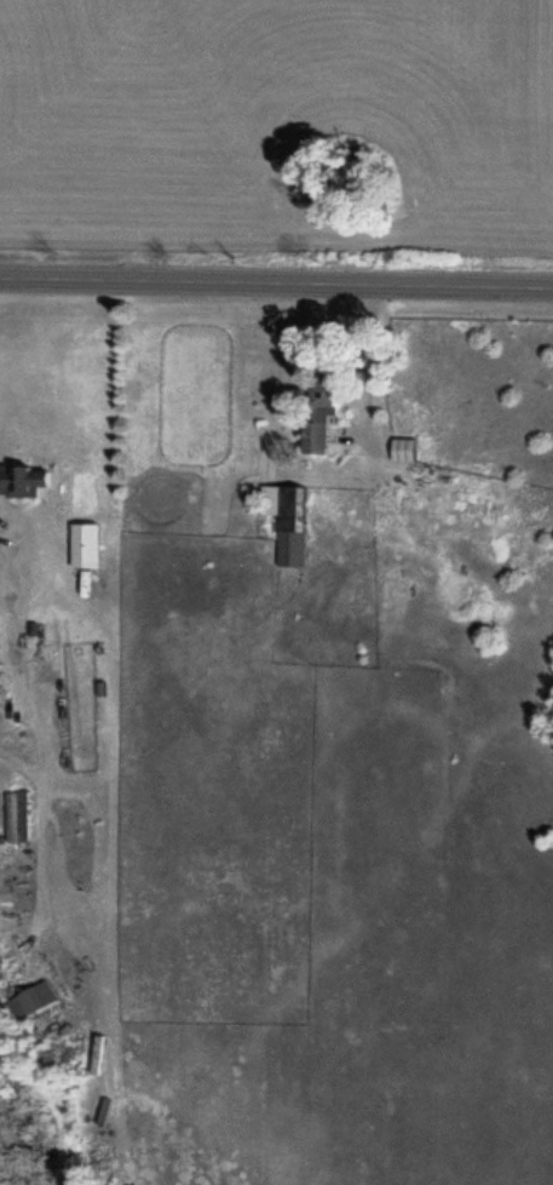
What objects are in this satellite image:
road: (276, 284)
building: (316, 416)
building: (401, 447)
building: (22, 476)
building: (284, 517)
building: (83, 542)
building: (12, 814)
building: (29, 996)

